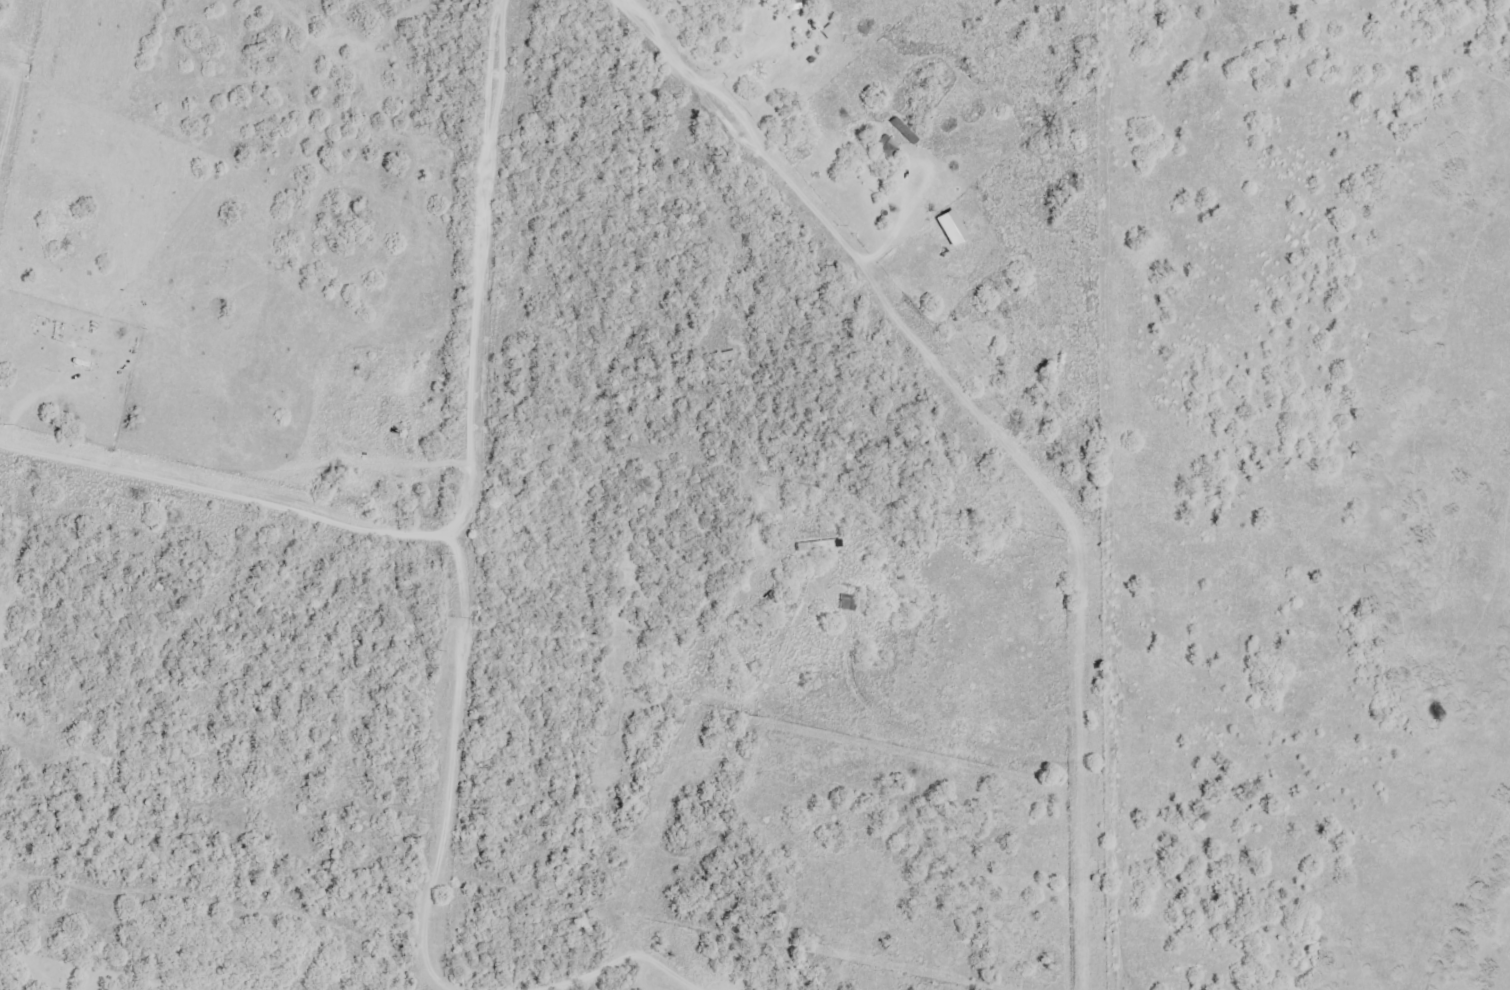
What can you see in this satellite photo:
building: (790, 5)
road: (787, 52)
road: (729, 131)
building: (904, 131)
building: (885, 148)
road: (890, 218)
building: (954, 237)
road: (479, 271)
road: (226, 494)
building: (818, 546)
building: (847, 604)

